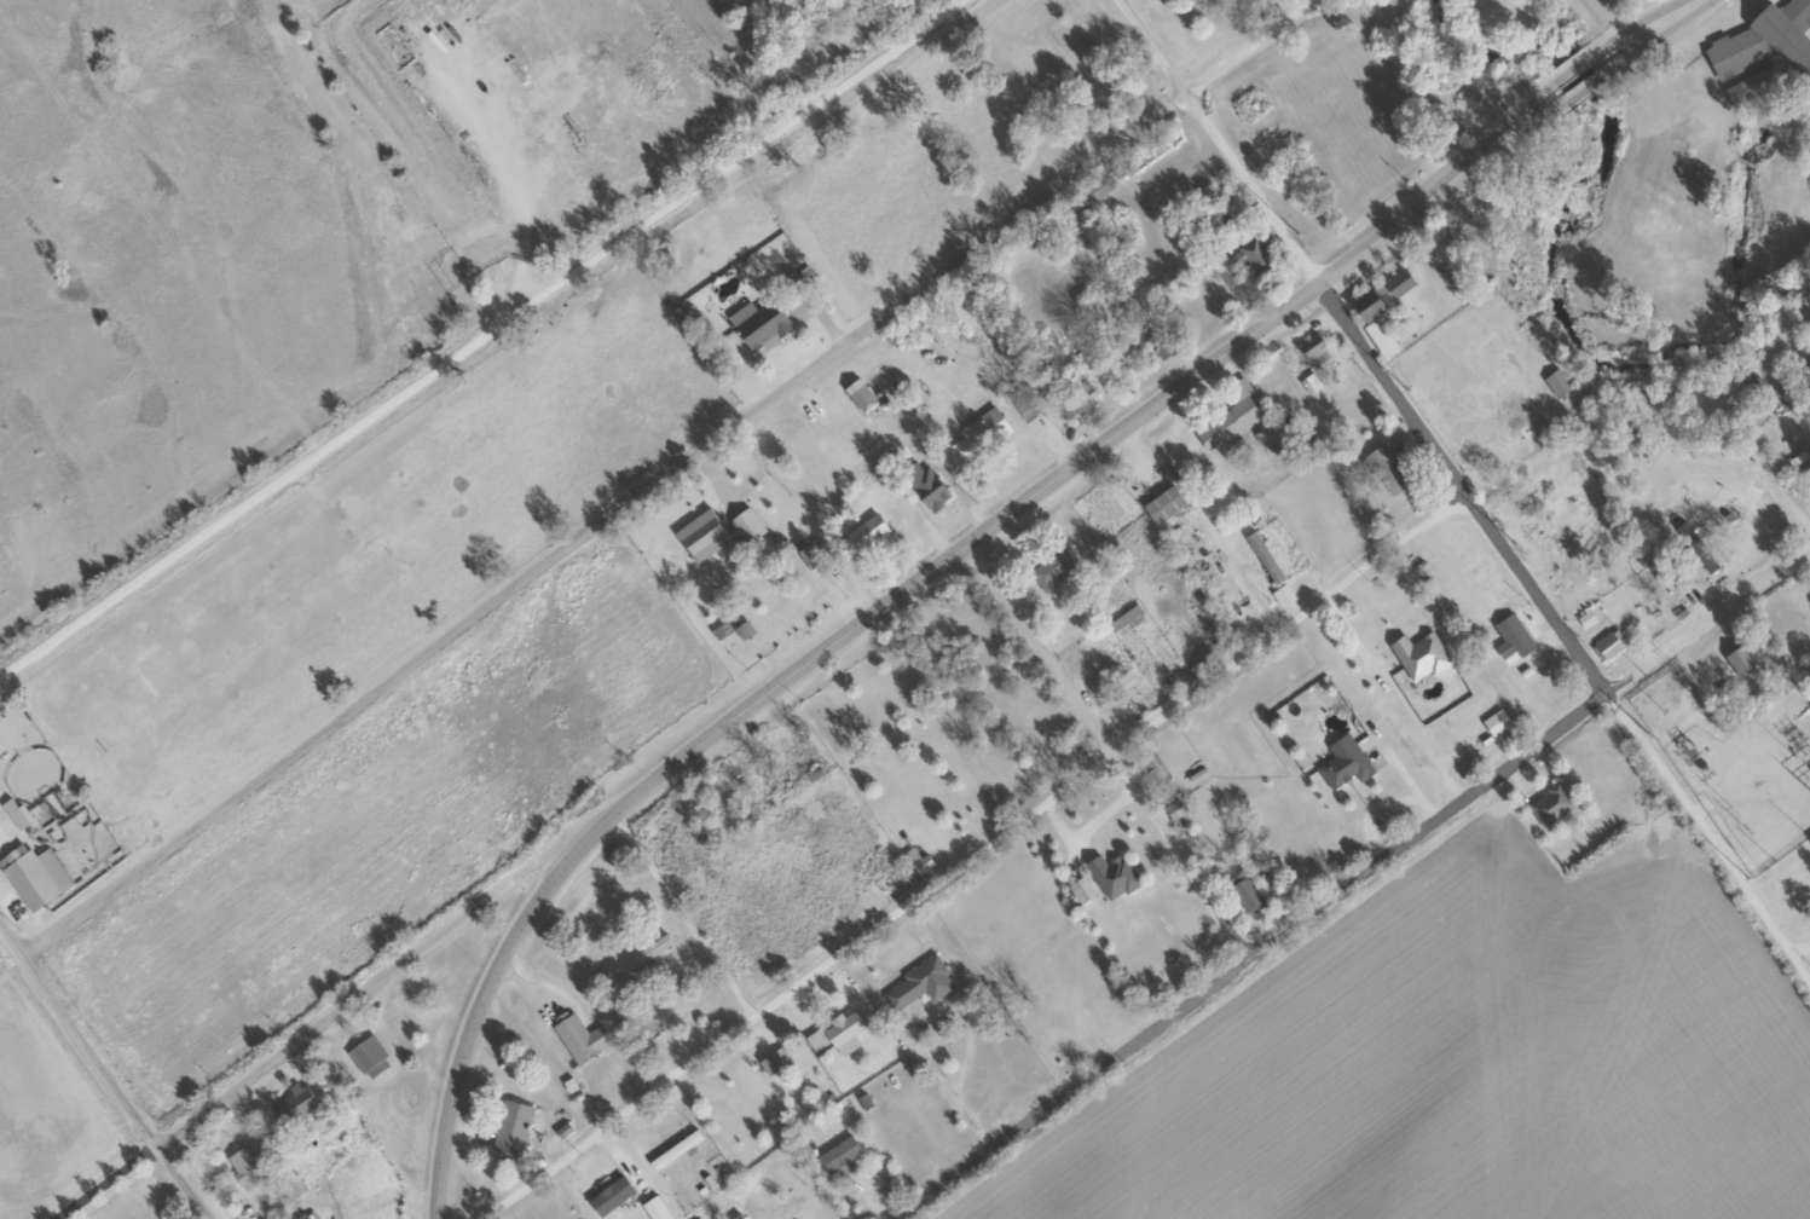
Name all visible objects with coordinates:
road: (1302, 2)
road: (1665, 23)
building: (1765, 42)
road: (1251, 47)
road: (1589, 69)
road: (508, 158)
building: (1097, 187)
river: (1550, 259)
building: (1239, 261)
building: (757, 327)
building: (1375, 331)
road: (480, 333)
building: (1311, 347)
building: (1162, 348)
building: (1809, 374)
building: (1555, 383)
building: (1081, 395)
building: (858, 397)
building: (1025, 403)
building: (1230, 418)
building: (977, 437)
building: (1800, 468)
road: (1066, 470)
building: (1387, 470)
road: (582, 484)
road: (1433, 504)
building: (1162, 505)
building: (860, 537)
building: (1262, 557)
building: (1051, 567)
building: (761, 616)
building: (1511, 639)
building: (1604, 642)
building: (1418, 657)
building: (1739, 659)
road: (1095, 756)
building: (1345, 767)
building: (782, 774)
building: (1549, 805)
road: (894, 825)
building: (1253, 861)
building: (1111, 877)
building: (27, 880)
road: (1353, 880)
road: (655, 886)
building: (1243, 892)
building: (647, 954)
building: (96, 972)
building: (916, 986)
road: (284, 996)
road: (475, 1019)
building: (835, 1035)
building: (579, 1039)
building: (369, 1058)
road: (99, 1078)
building: (295, 1104)
building: (510, 1130)
building: (837, 1159)
building: (244, 1169)
building: (892, 1186)
building: (302, 1217)
building: (734, 1217)

